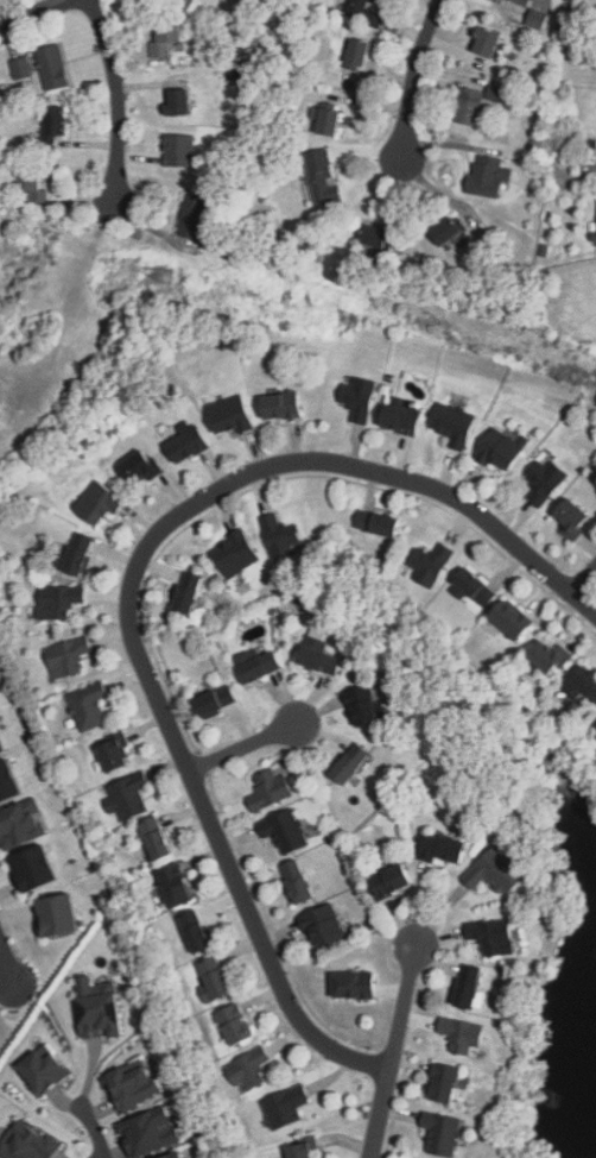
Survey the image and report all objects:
building: (526, 2)
building: (359, 5)
road: (33, 14)
building: (537, 19)
building: (170, 37)
building: (486, 38)
building: (359, 55)
building: (53, 67)
building: (20, 69)
road: (413, 77)
road: (116, 99)
building: (178, 99)
building: (471, 105)
building: (329, 113)
building: (55, 122)
building: (182, 149)
building: (322, 175)
building: (486, 175)
building: (28, 177)
building: (194, 215)
building: (446, 233)
building: (378, 239)
power tower: (160, 278)
building: (357, 396)
building: (281, 404)
building: (229, 415)
building: (400, 420)
building: (452, 421)
building: (186, 445)
building: (500, 448)
building: (139, 465)
building: (543, 478)
building: (99, 503)
building: (570, 517)
building: (379, 523)
building: (284, 539)
building: (77, 554)
building: (236, 555)
building: (429, 561)
road: (583, 575)
building: (471, 585)
road: (131, 590)
building: (186, 593)
building: (57, 602)
building: (508, 616)
building: (551, 654)
building: (319, 655)
building: (68, 656)
building: (258, 662)
building: (584, 685)
building: (211, 700)
building: (363, 705)
building: (87, 706)
building: (595, 724)
building: (2, 741)
road: (243, 747)
building: (1, 751)
building: (114, 753)
building: (350, 762)
building: (7, 785)
building: (268, 787)
building: (127, 794)
building: (17, 826)
building: (287, 826)
building: (152, 833)
building: (443, 847)
building: (501, 866)
building: (36, 869)
building: (297, 879)
building: (392, 881)
building: (173, 882)
building: (58, 917)
building: (326, 925)
building: (194, 932)
building: (495, 934)
road: (6, 963)
building: (215, 975)
building: (355, 983)
building: (470, 986)
building: (99, 1005)
building: (234, 1022)
building: (464, 1033)
road: (394, 1051)
building: (43, 1065)
building: (246, 1071)
building: (444, 1077)
building: (129, 1084)
building: (281, 1108)
building: (147, 1127)
road: (93, 1129)
building: (444, 1131)
building: (28, 1141)
building: (302, 1145)
building: (173, 1153)

